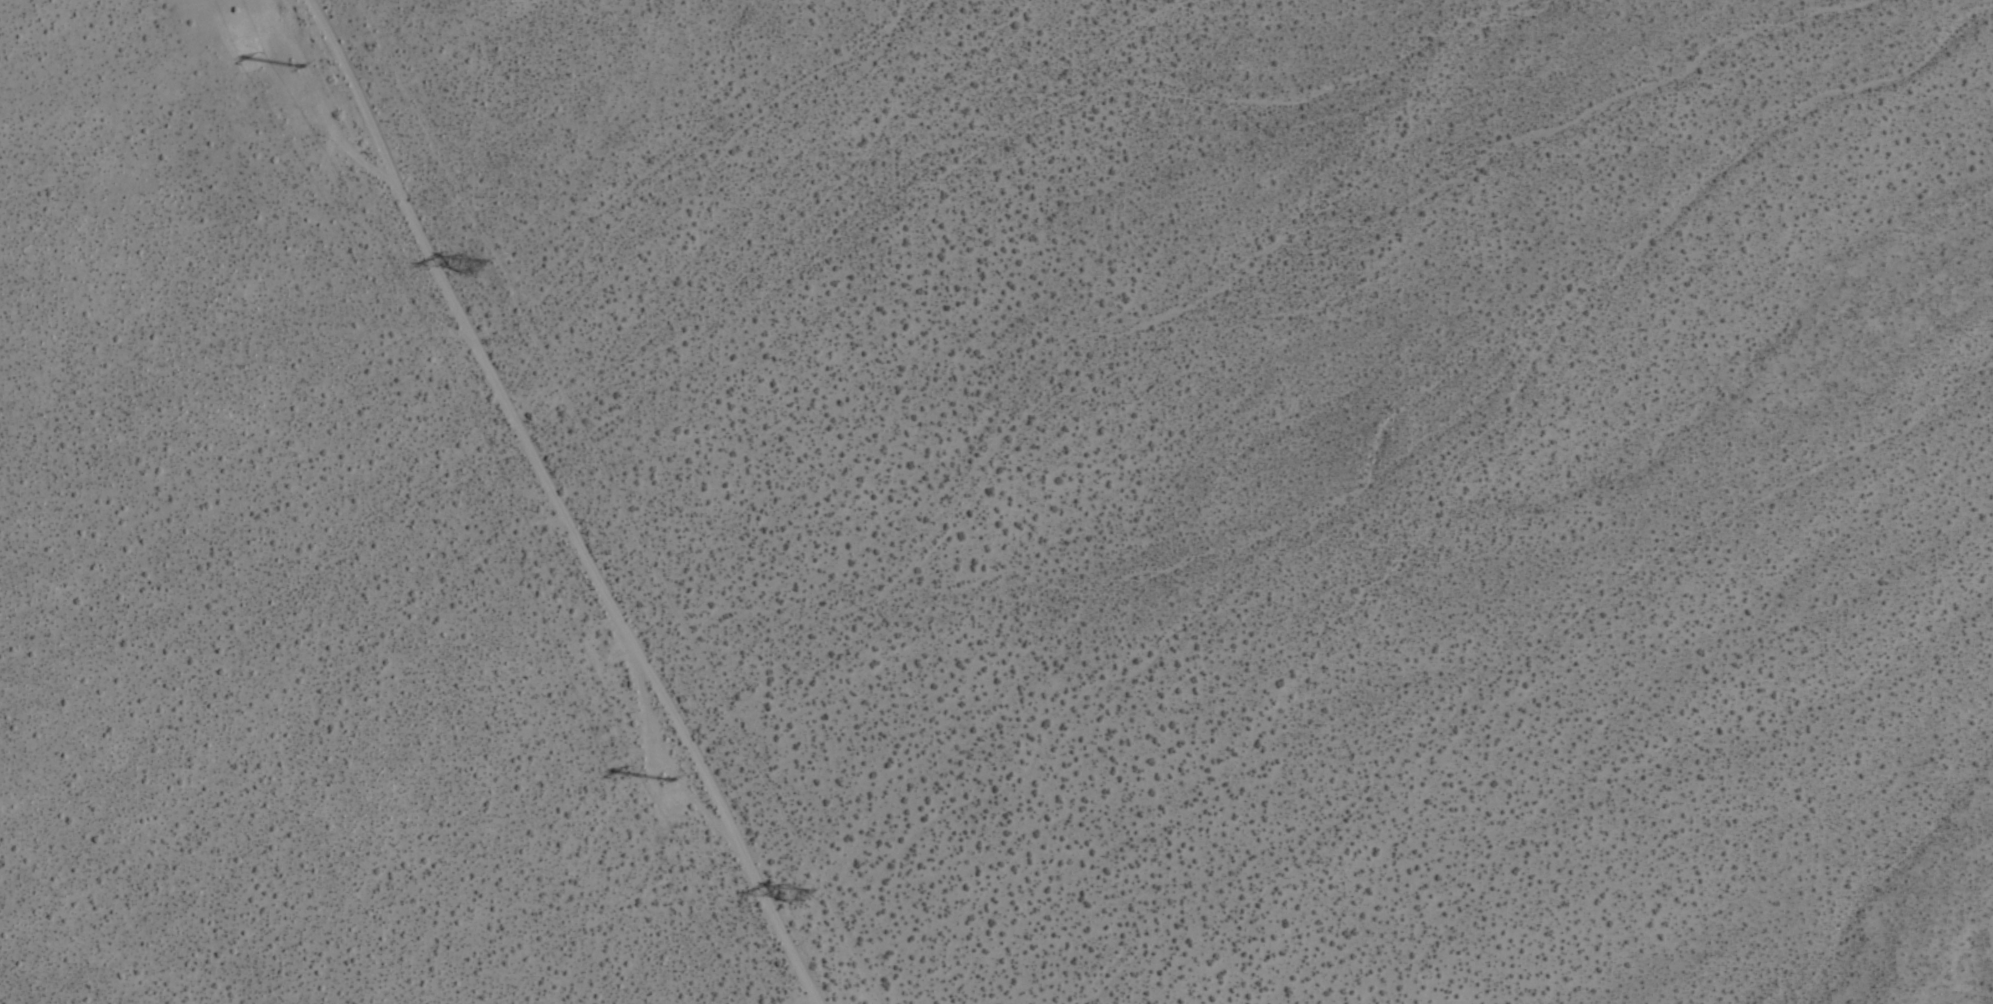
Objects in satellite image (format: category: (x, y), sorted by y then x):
power tower: (291, 69)
power tower: (467, 265)
road: (562, 502)
power tower: (647, 779)
power tower: (790, 889)

